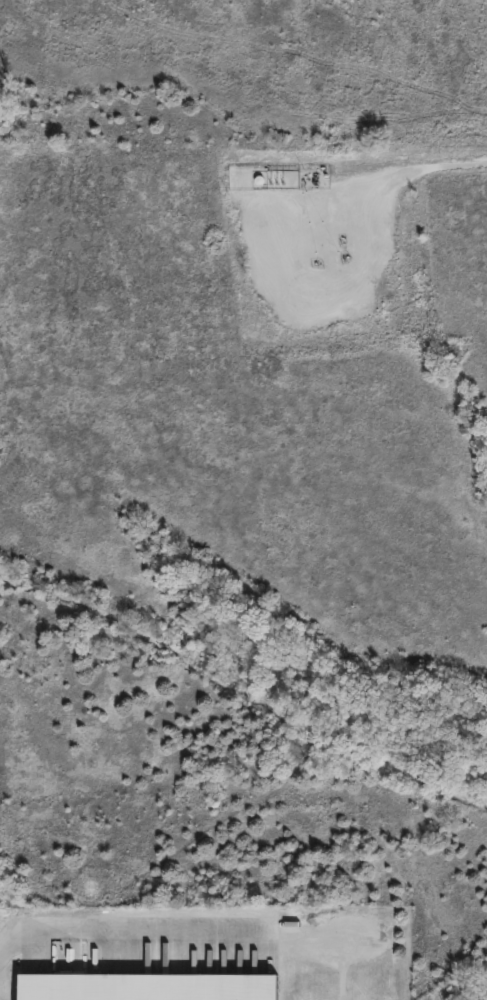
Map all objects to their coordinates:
road: (428, 166)
road: (15, 902)
road: (165, 918)
building: (143, 986)

